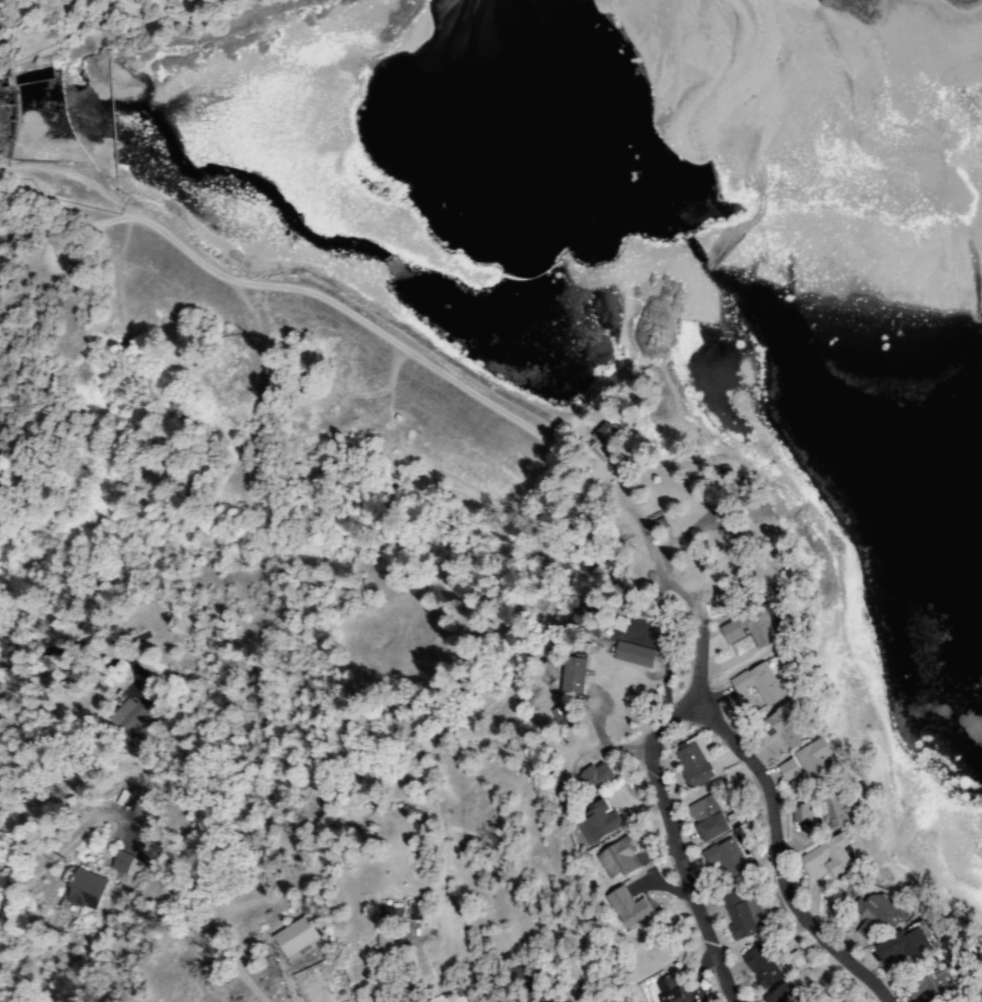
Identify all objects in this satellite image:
dam: (19, 114)
road: (393, 340)
building: (610, 432)
building: (729, 598)
building: (588, 623)
building: (756, 627)
building: (636, 655)
road: (705, 657)
building: (549, 672)
building: (576, 674)
building: (765, 684)
building: (131, 717)
building: (566, 717)
building: (784, 726)
building: (144, 738)
building: (126, 742)
building: (817, 761)
building: (696, 763)
building: (791, 770)
building: (596, 777)
building: (836, 808)
building: (344, 812)
building: (802, 814)
building: (710, 818)
building: (599, 823)
road: (679, 847)
building: (831, 855)
building: (730, 857)
building: (621, 859)
road: (785, 862)
building: (123, 863)
building: (84, 889)
building: (630, 908)
building: (417, 911)
building: (878, 914)
building: (739, 920)
building: (389, 928)
building: (298, 937)
building: (908, 944)
building: (794, 962)
building: (766, 967)
building: (517, 976)
building: (934, 987)
building: (542, 989)
building: (671, 990)
building: (786, 995)

